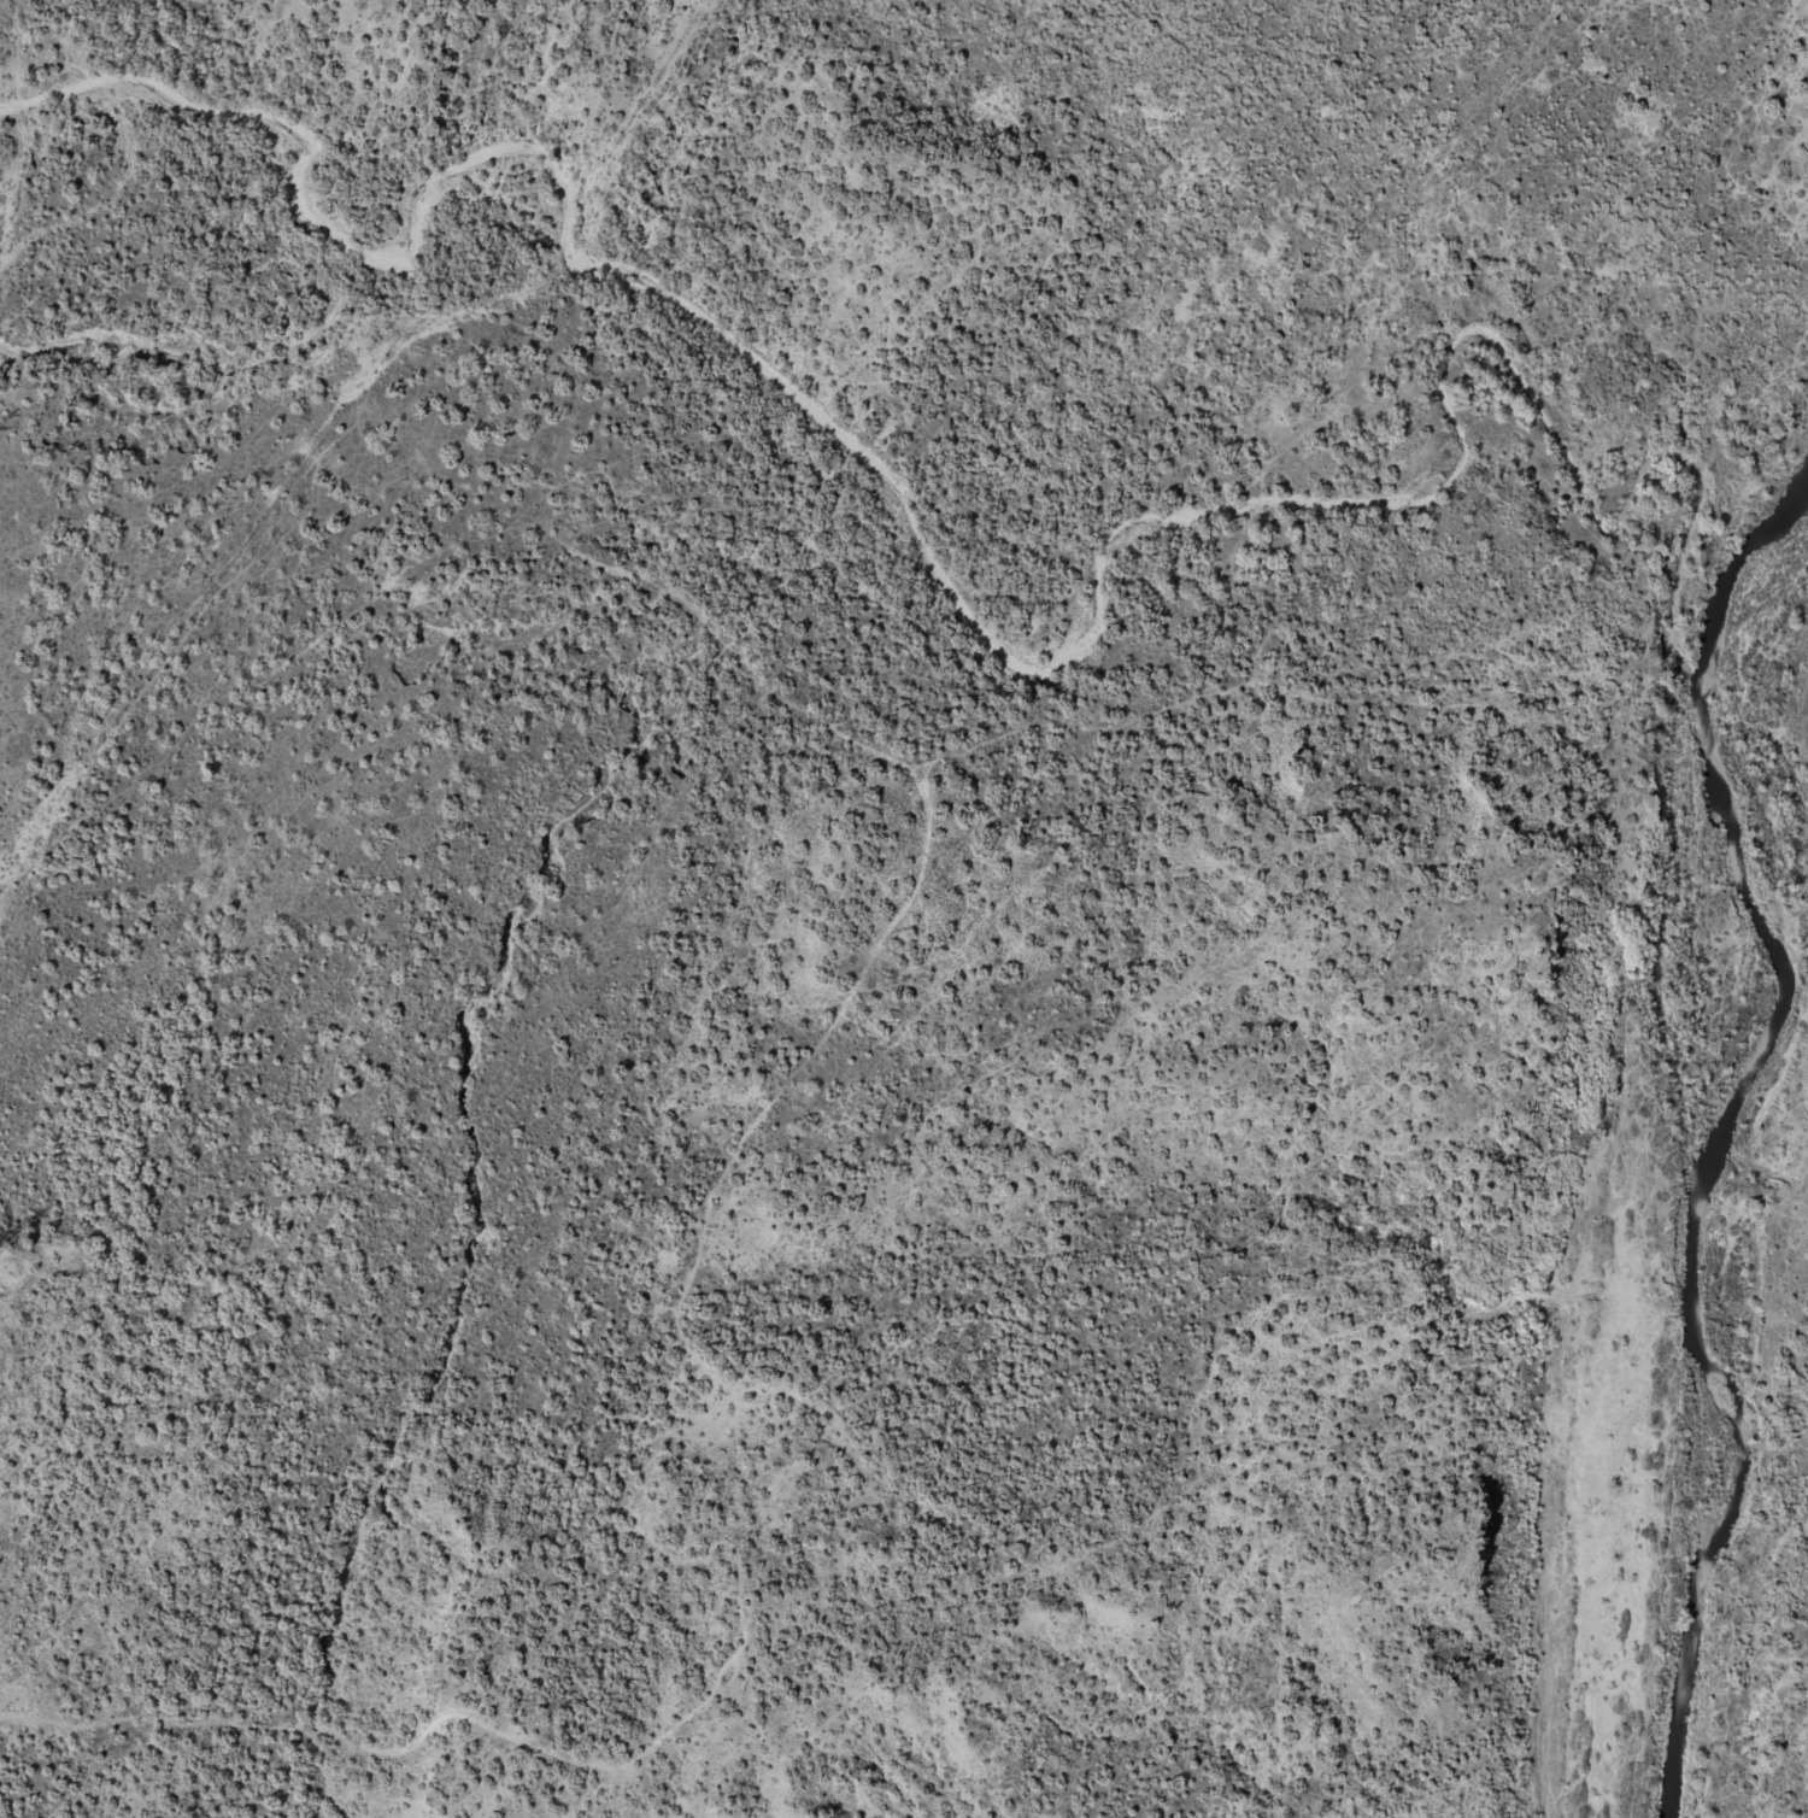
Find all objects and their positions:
river: (1721, 1121)

